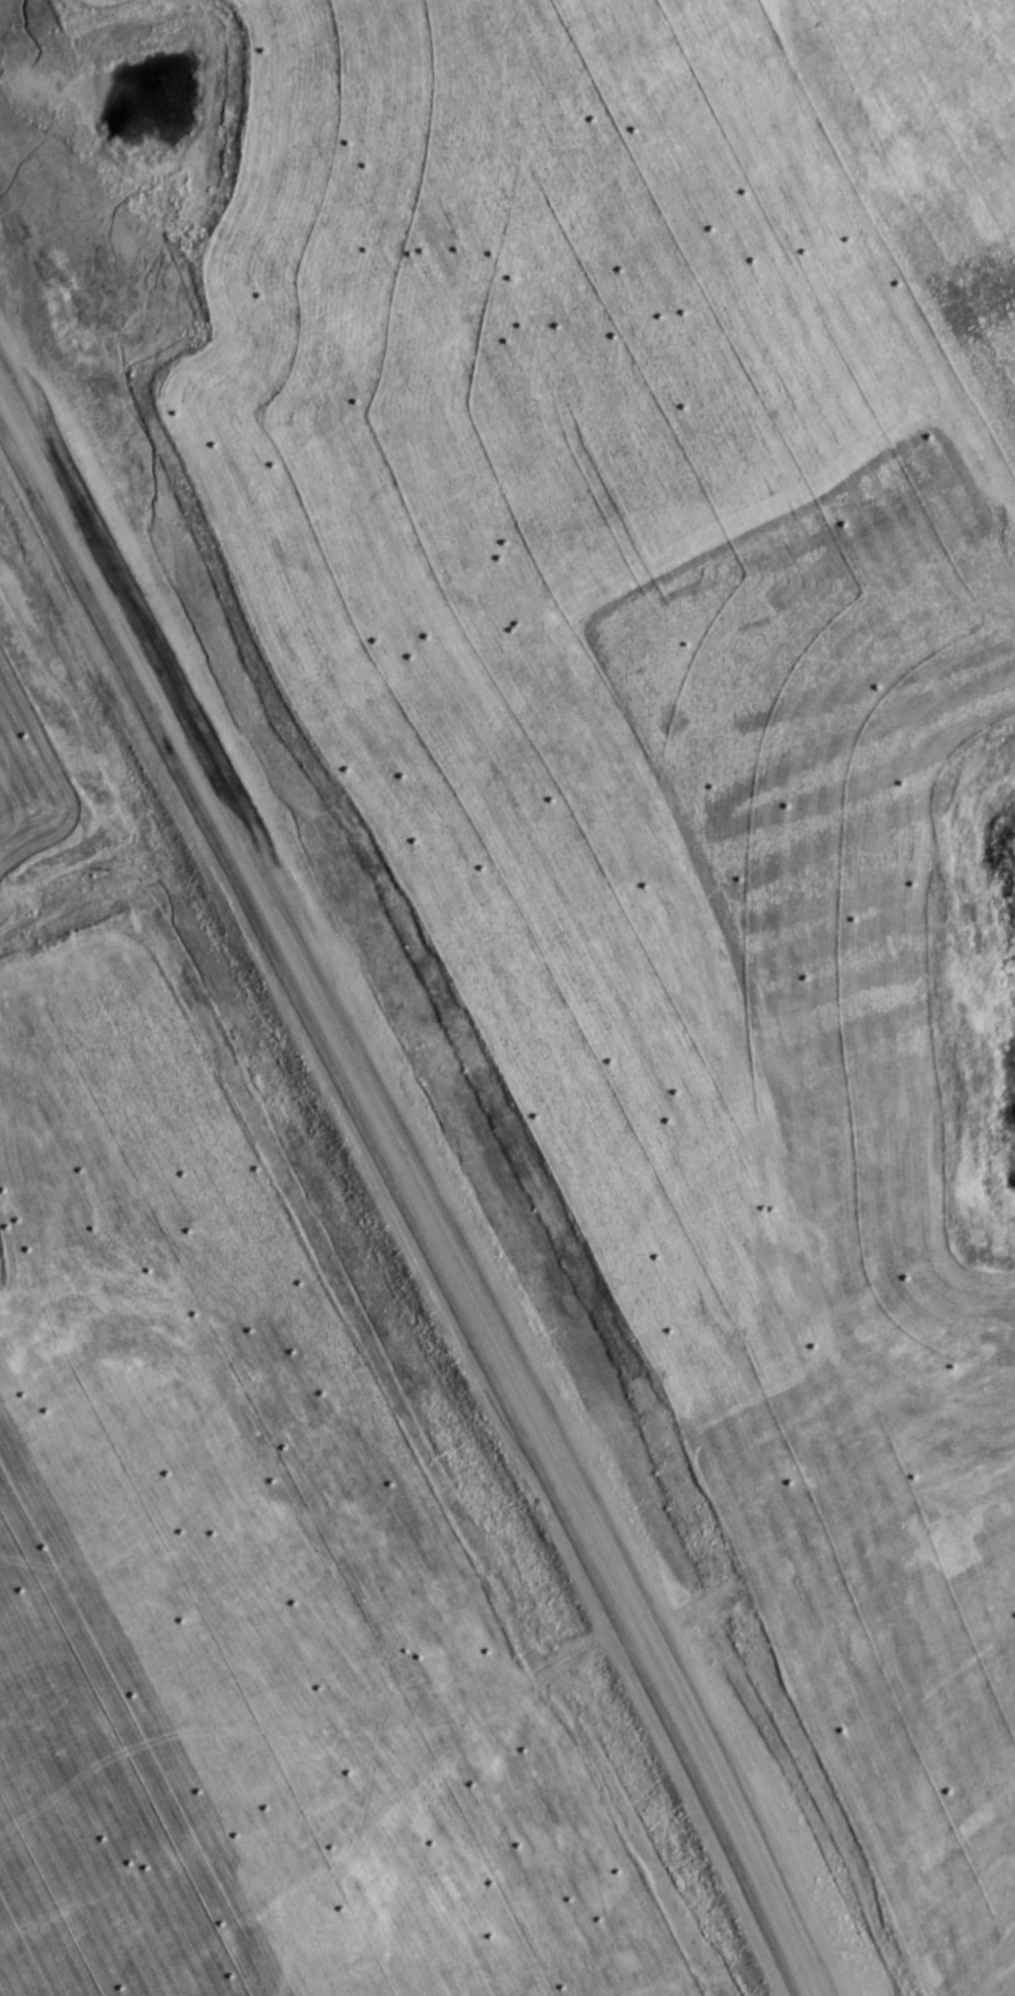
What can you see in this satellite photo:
quarry: (1002, 1969)

